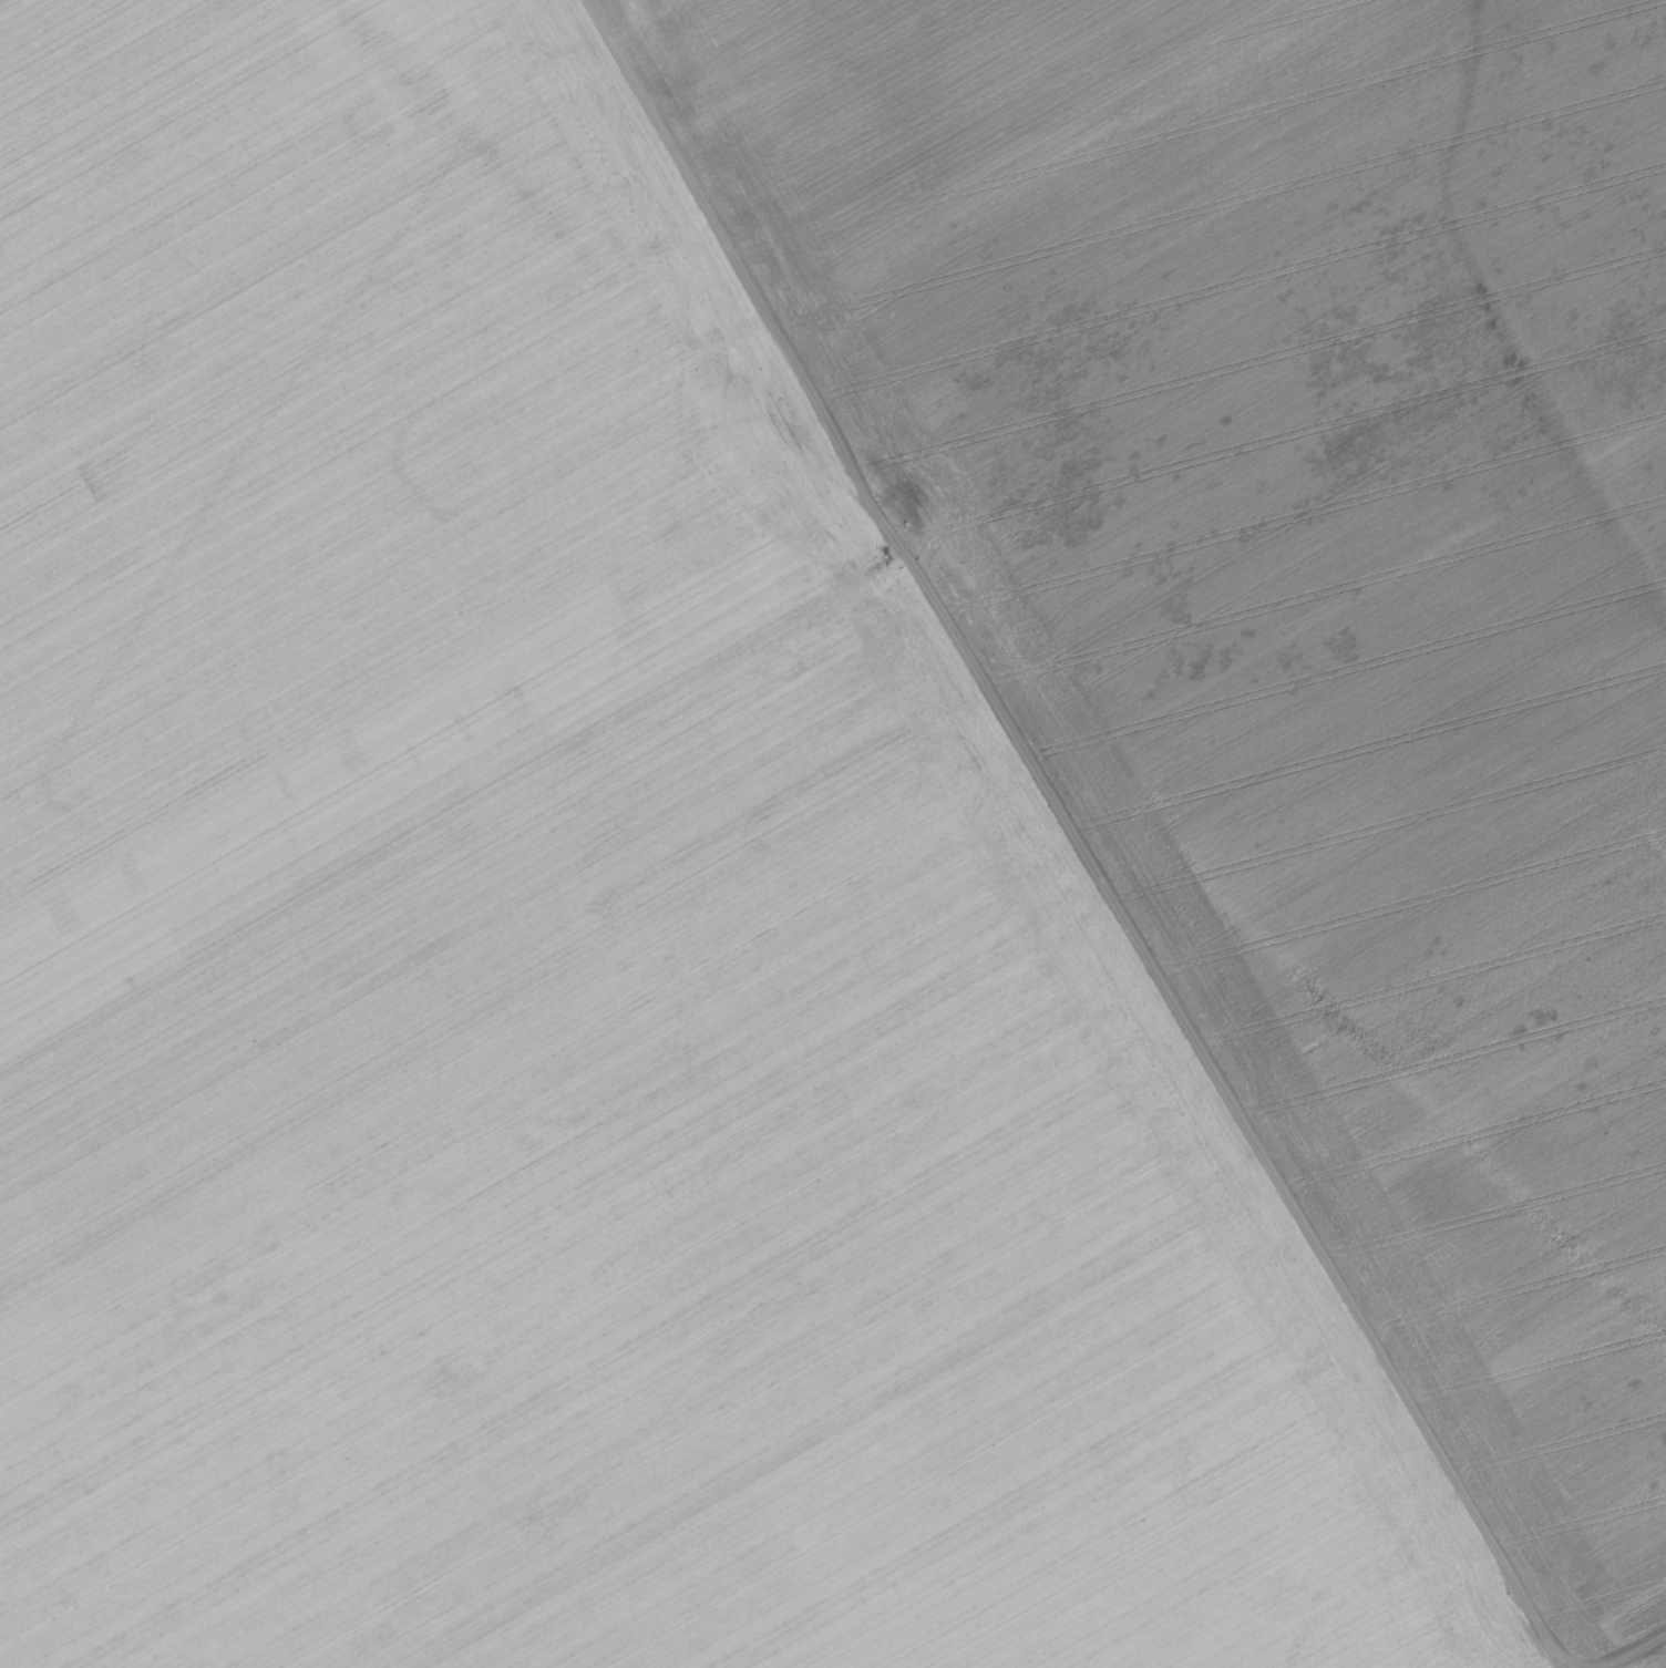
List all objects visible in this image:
road: (1078, 835)
road: (1626, 1648)

